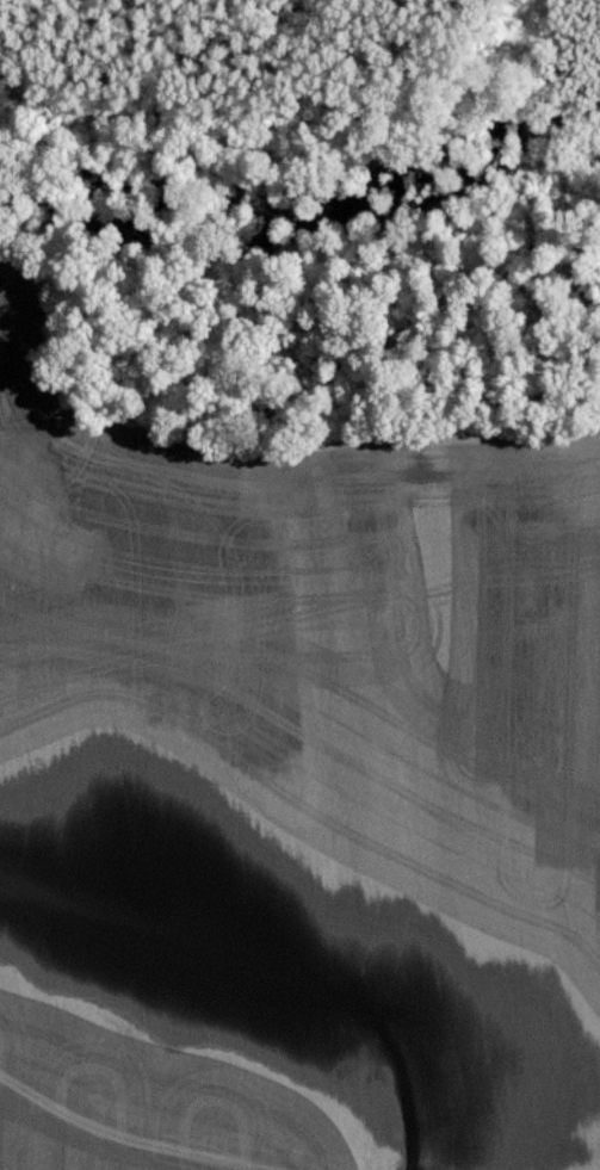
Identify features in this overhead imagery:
road: (138, 1139)

